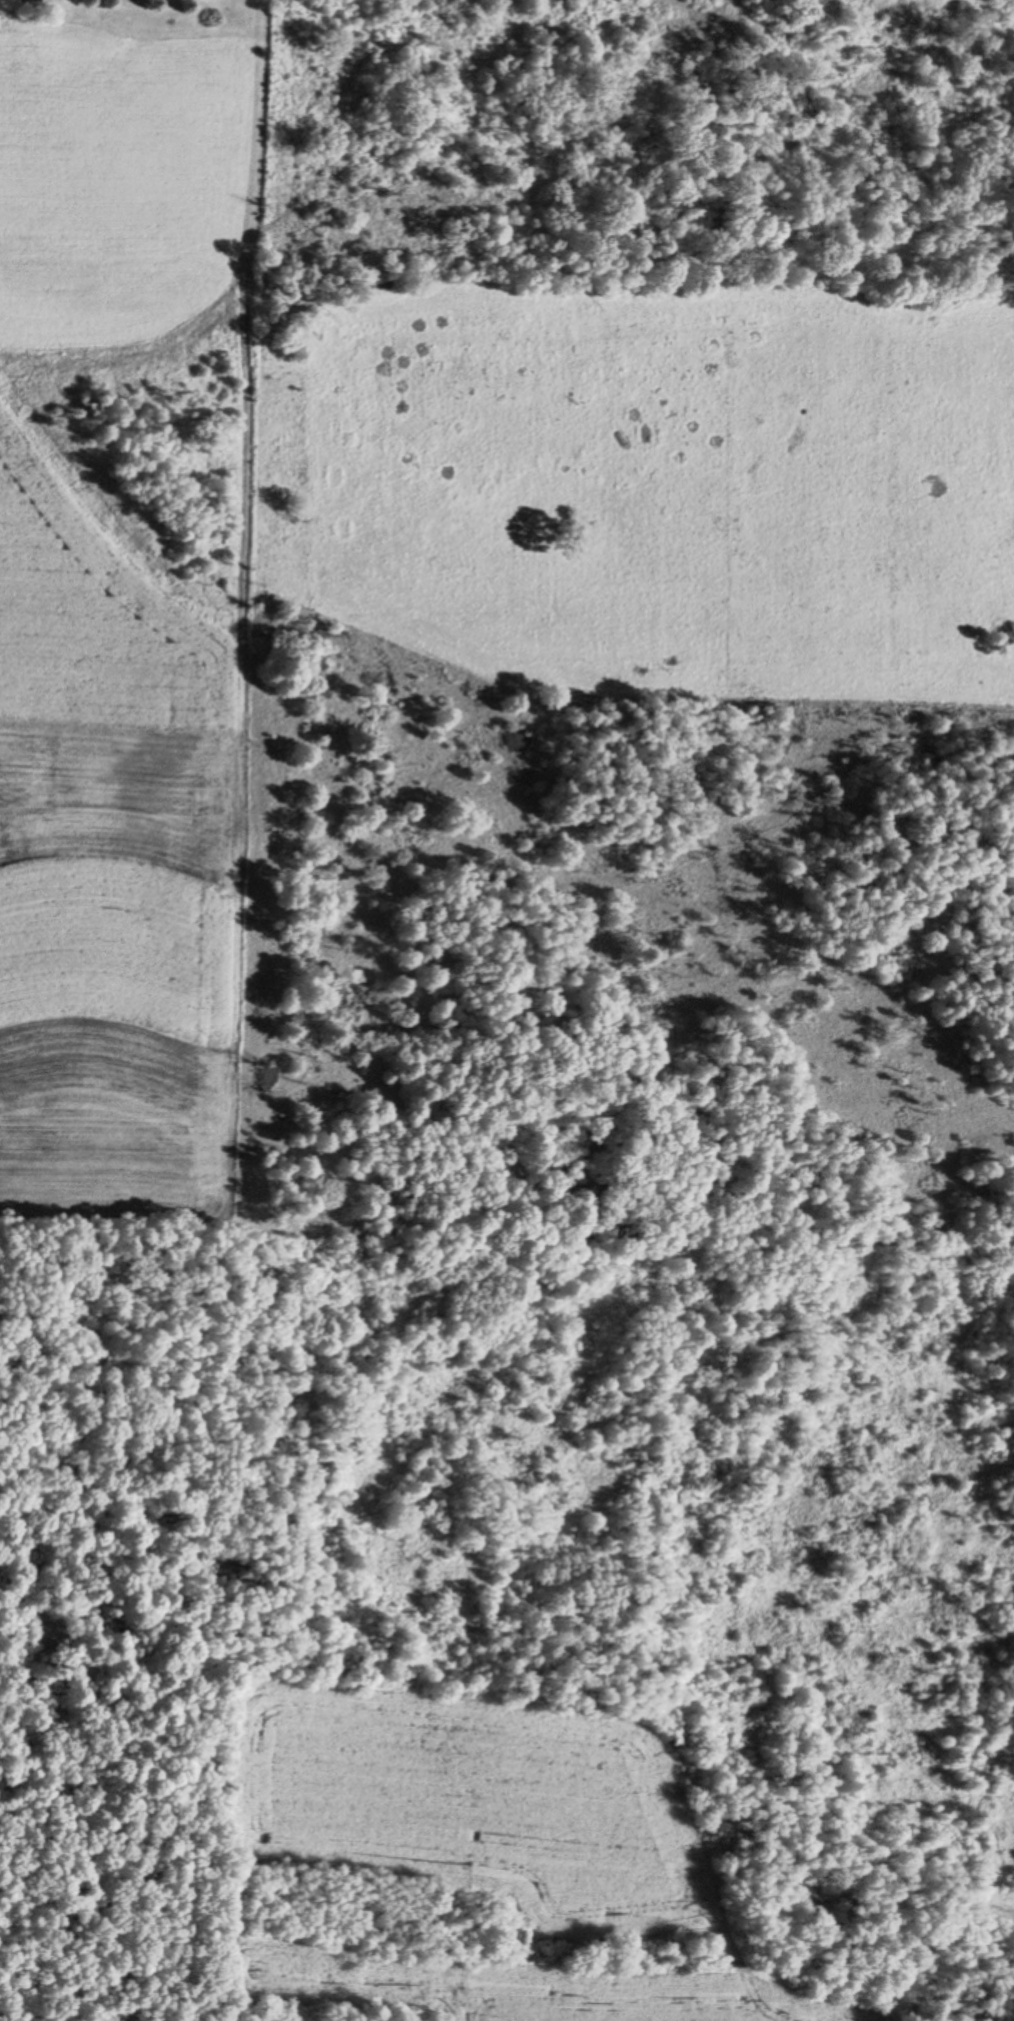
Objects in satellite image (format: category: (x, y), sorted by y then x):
building: (36, 1)

